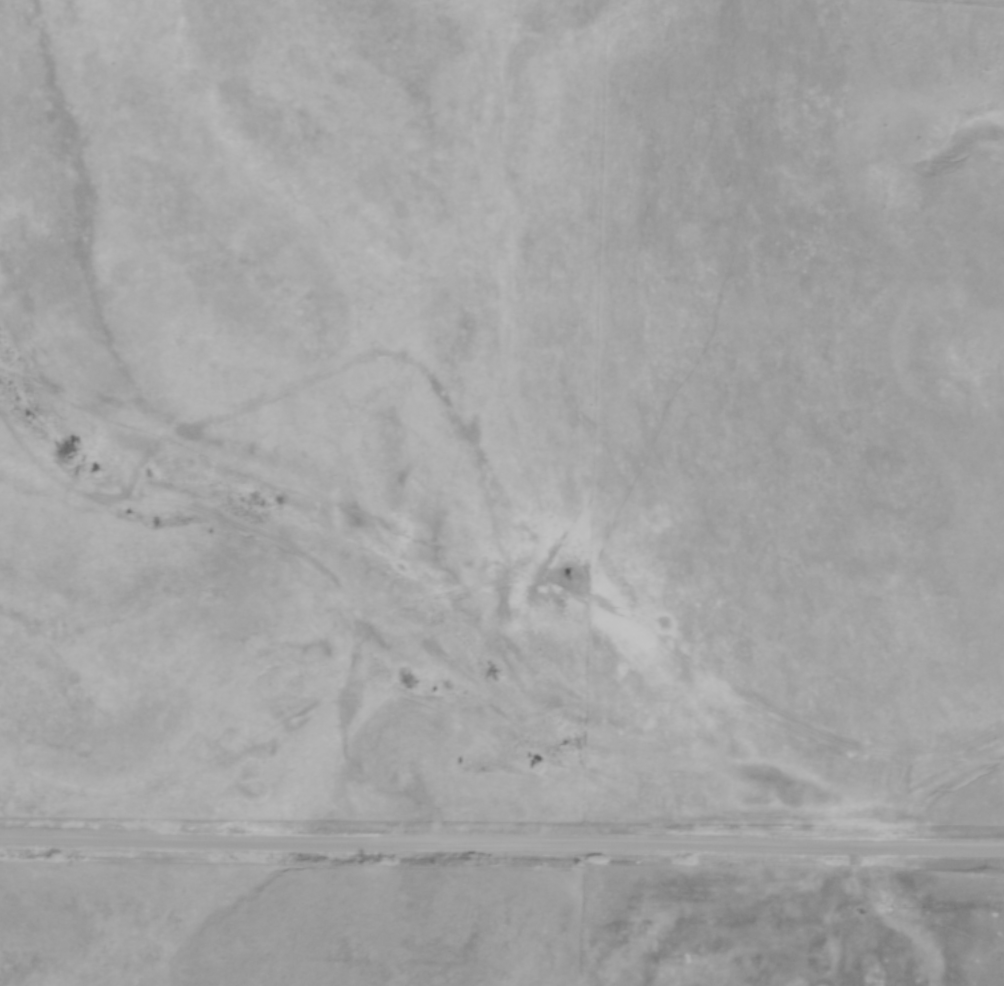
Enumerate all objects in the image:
road: (502, 843)

